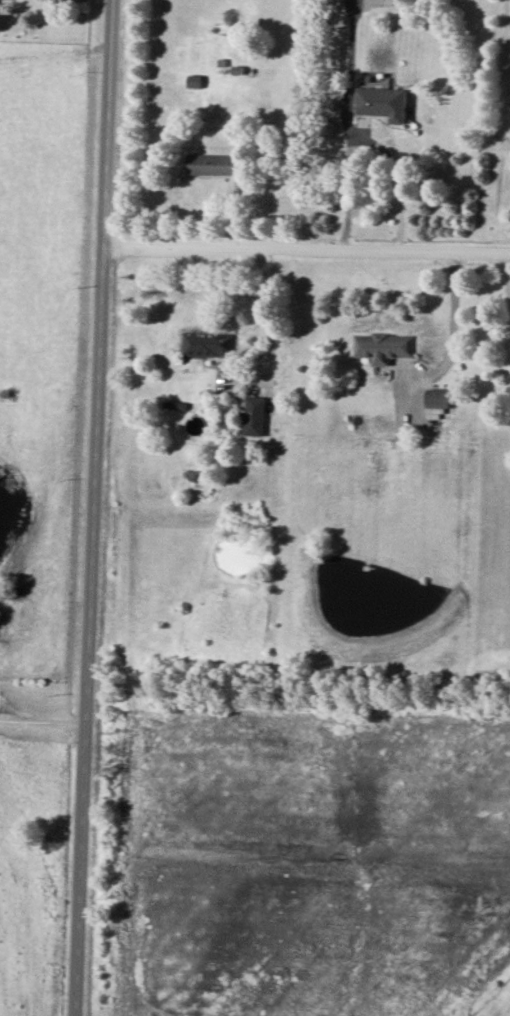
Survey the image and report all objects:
building: (383, 103)
road: (350, 130)
building: (212, 165)
road: (398, 180)
road: (307, 248)
road: (506, 267)
road: (265, 306)
road: (454, 325)
building: (210, 344)
building: (385, 348)
building: (440, 400)
building: (254, 417)
road: (95, 507)
road: (44, 717)

